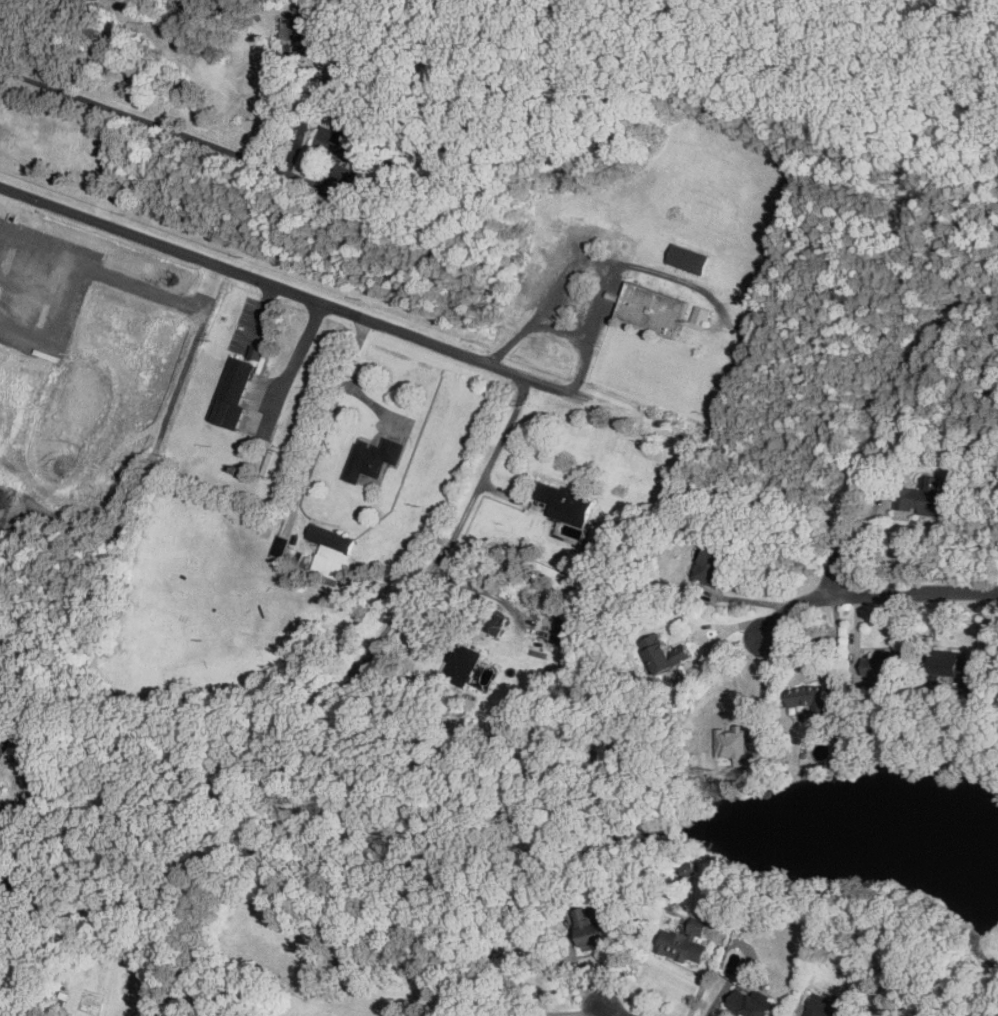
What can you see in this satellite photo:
road: (111, 109)
building: (334, 140)
building: (347, 175)
building: (688, 260)
road: (104, 271)
road: (610, 276)
building: (650, 310)
road: (260, 313)
building: (699, 319)
road: (560, 331)
road: (418, 339)
road: (191, 353)
road: (293, 365)
road: (348, 380)
building: (232, 394)
building: (372, 459)
building: (923, 499)
building: (563, 504)
building: (330, 538)
building: (281, 548)
building: (711, 566)
road: (833, 571)
road: (912, 593)
road: (789, 608)
building: (492, 624)
building: (564, 633)
road: (719, 641)
road: (838, 649)
building: (663, 654)
building: (459, 665)
building: (946, 666)
building: (882, 668)
road: (759, 685)
building: (809, 700)
building: (732, 742)
building: (589, 931)
building: (684, 943)
road: (706, 978)
building: (749, 1003)
building: (826, 1006)
building: (4, 1008)
road: (611, 1013)

